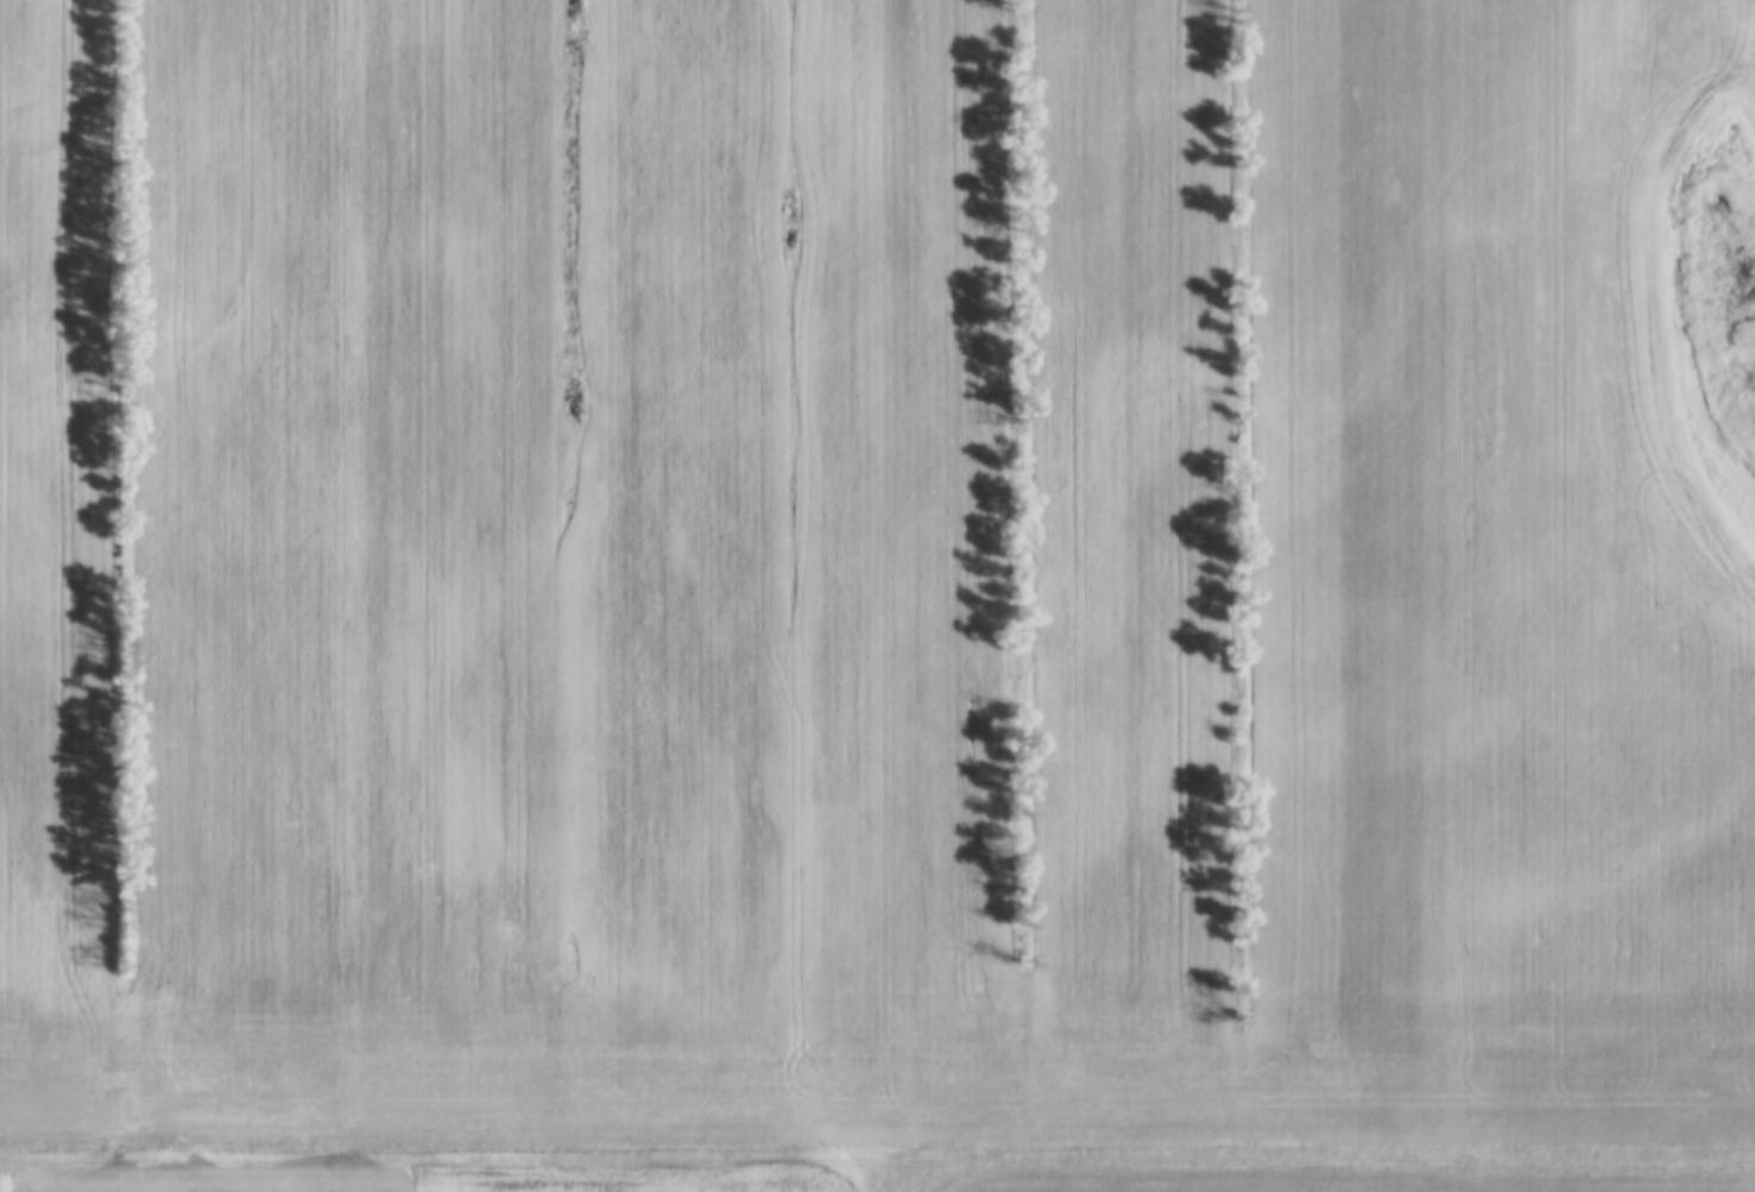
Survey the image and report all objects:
road: (877, 1137)

